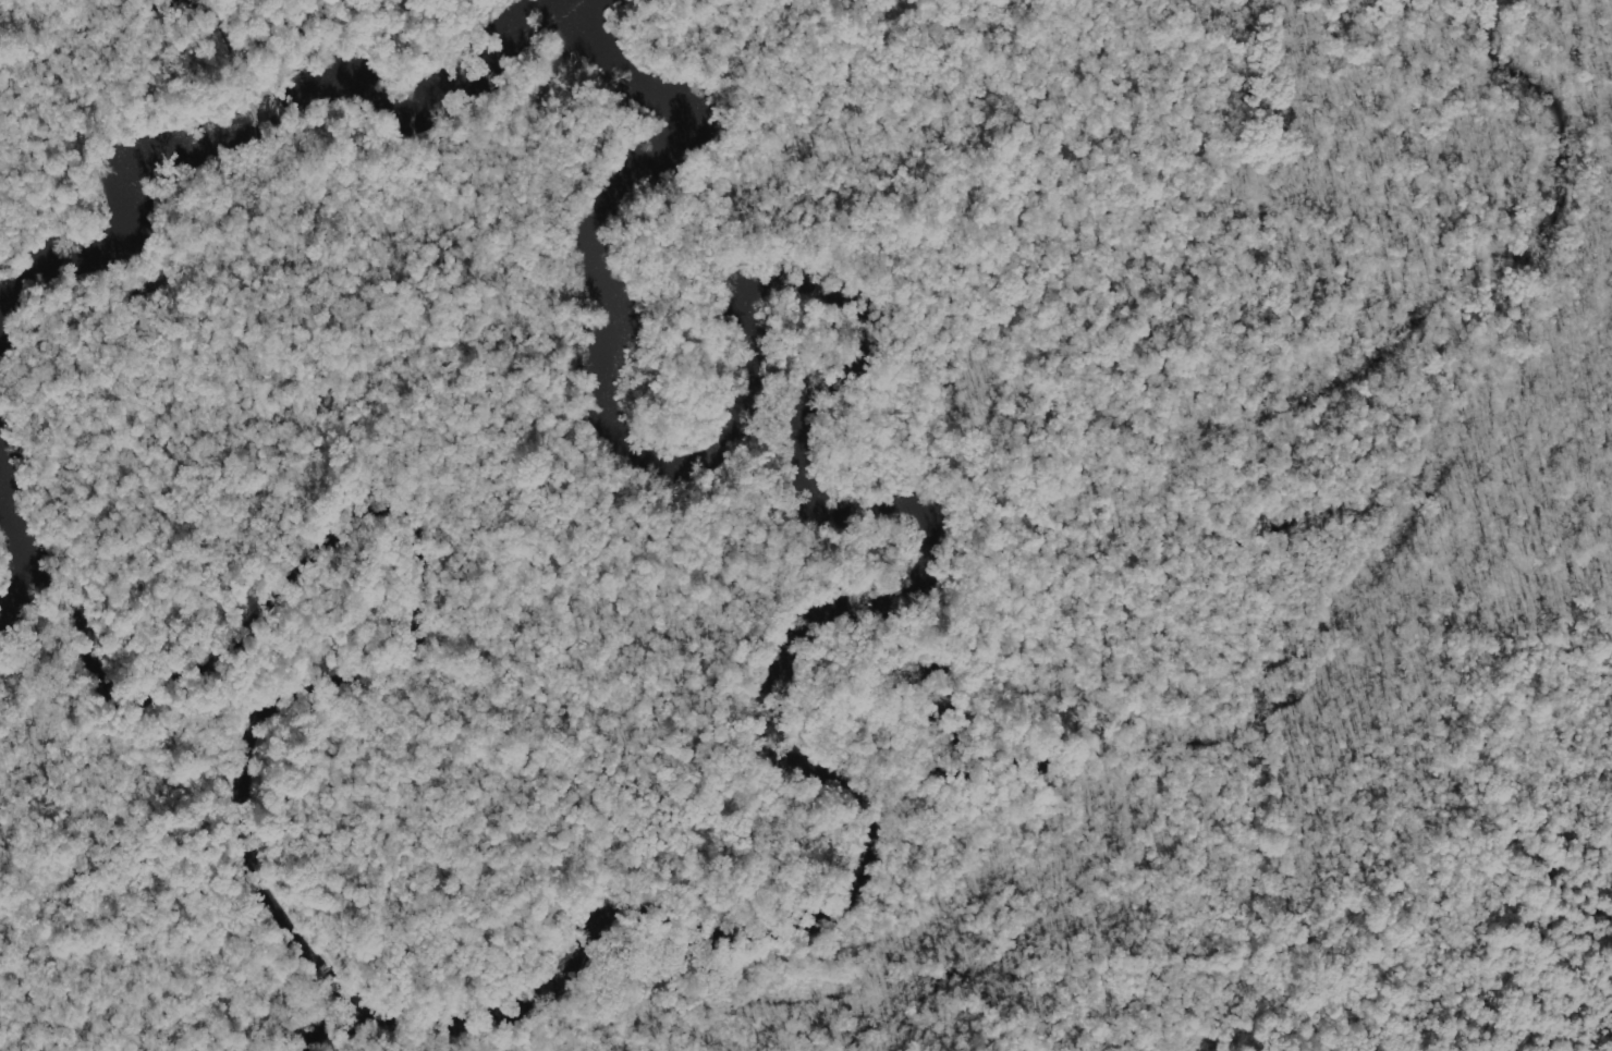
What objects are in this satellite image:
river: (267, 101)
river: (14, 530)

